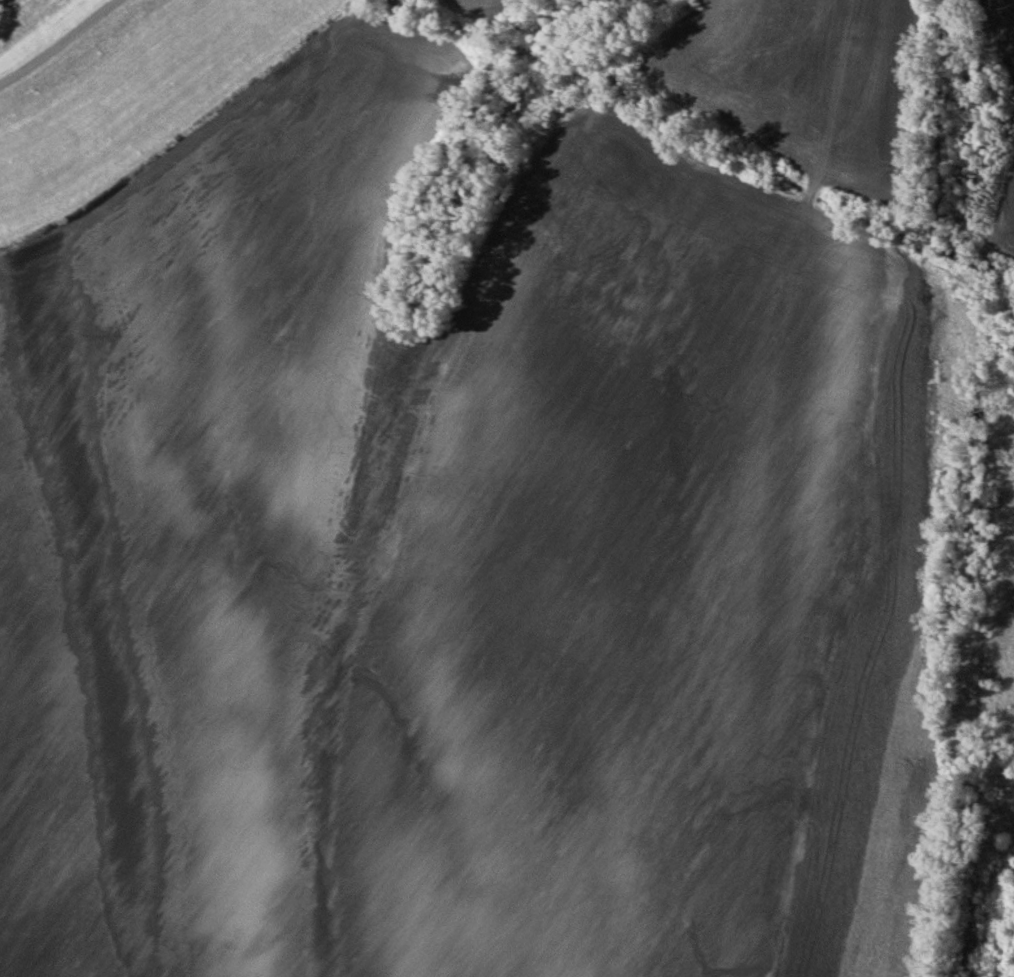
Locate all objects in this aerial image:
crop: (467, 6)
crop: (1004, 27)
road: (54, 40)
crop: (794, 80)
crop: (1003, 223)
crop: (460, 559)

